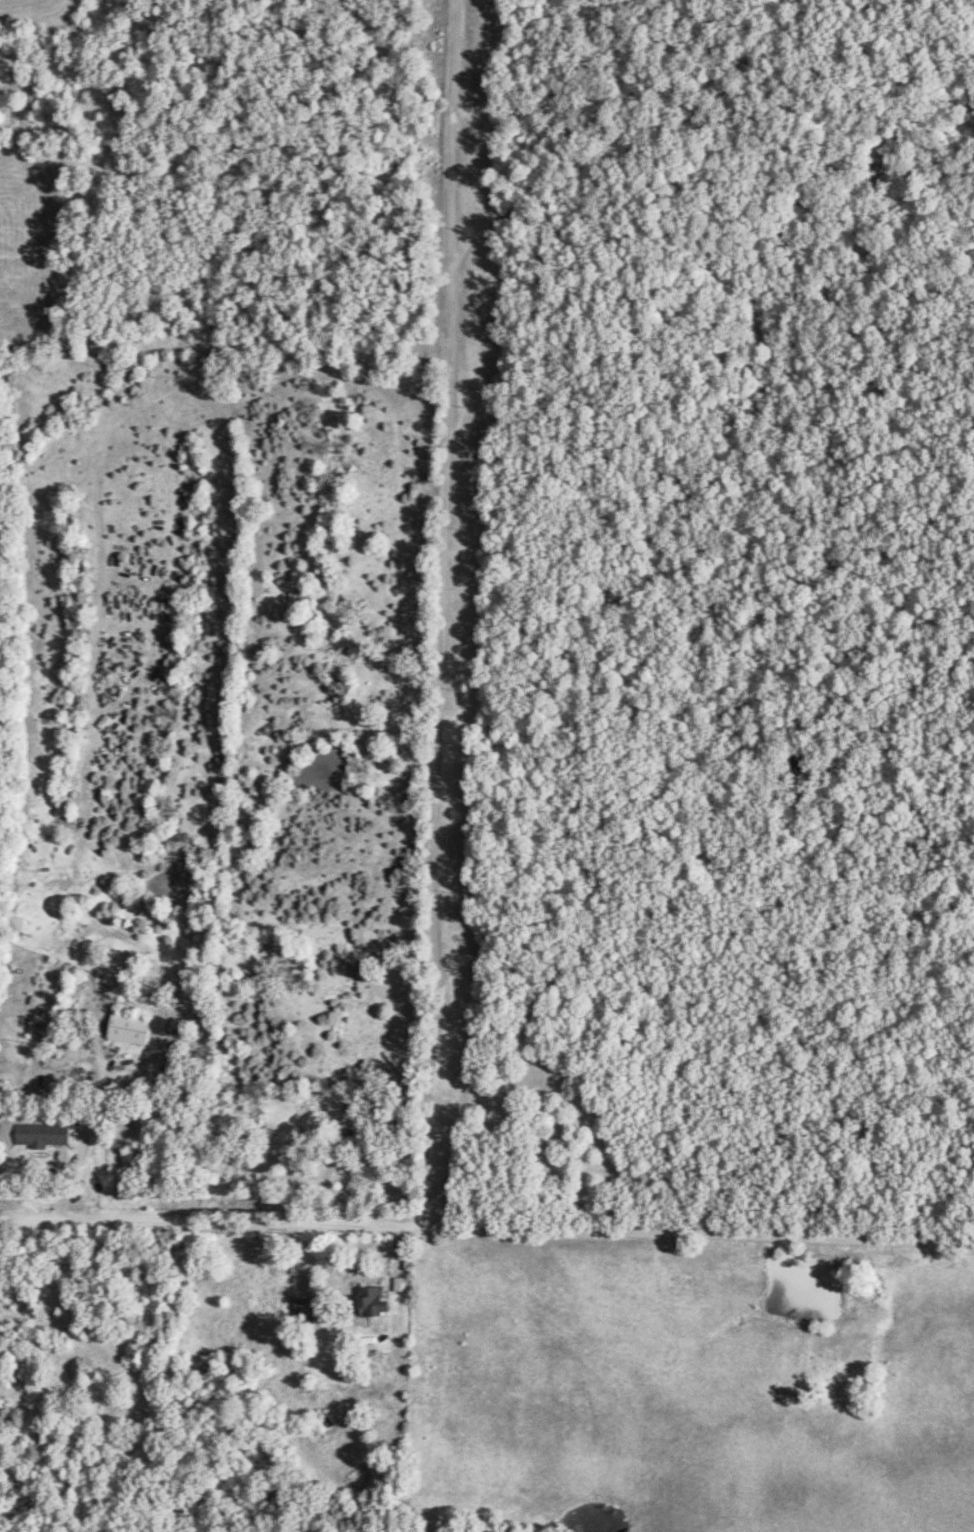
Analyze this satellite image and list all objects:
road: (443, 615)
building: (128, 1029)
building: (41, 1135)
road: (487, 1226)
building: (373, 1302)
building: (380, 1325)

